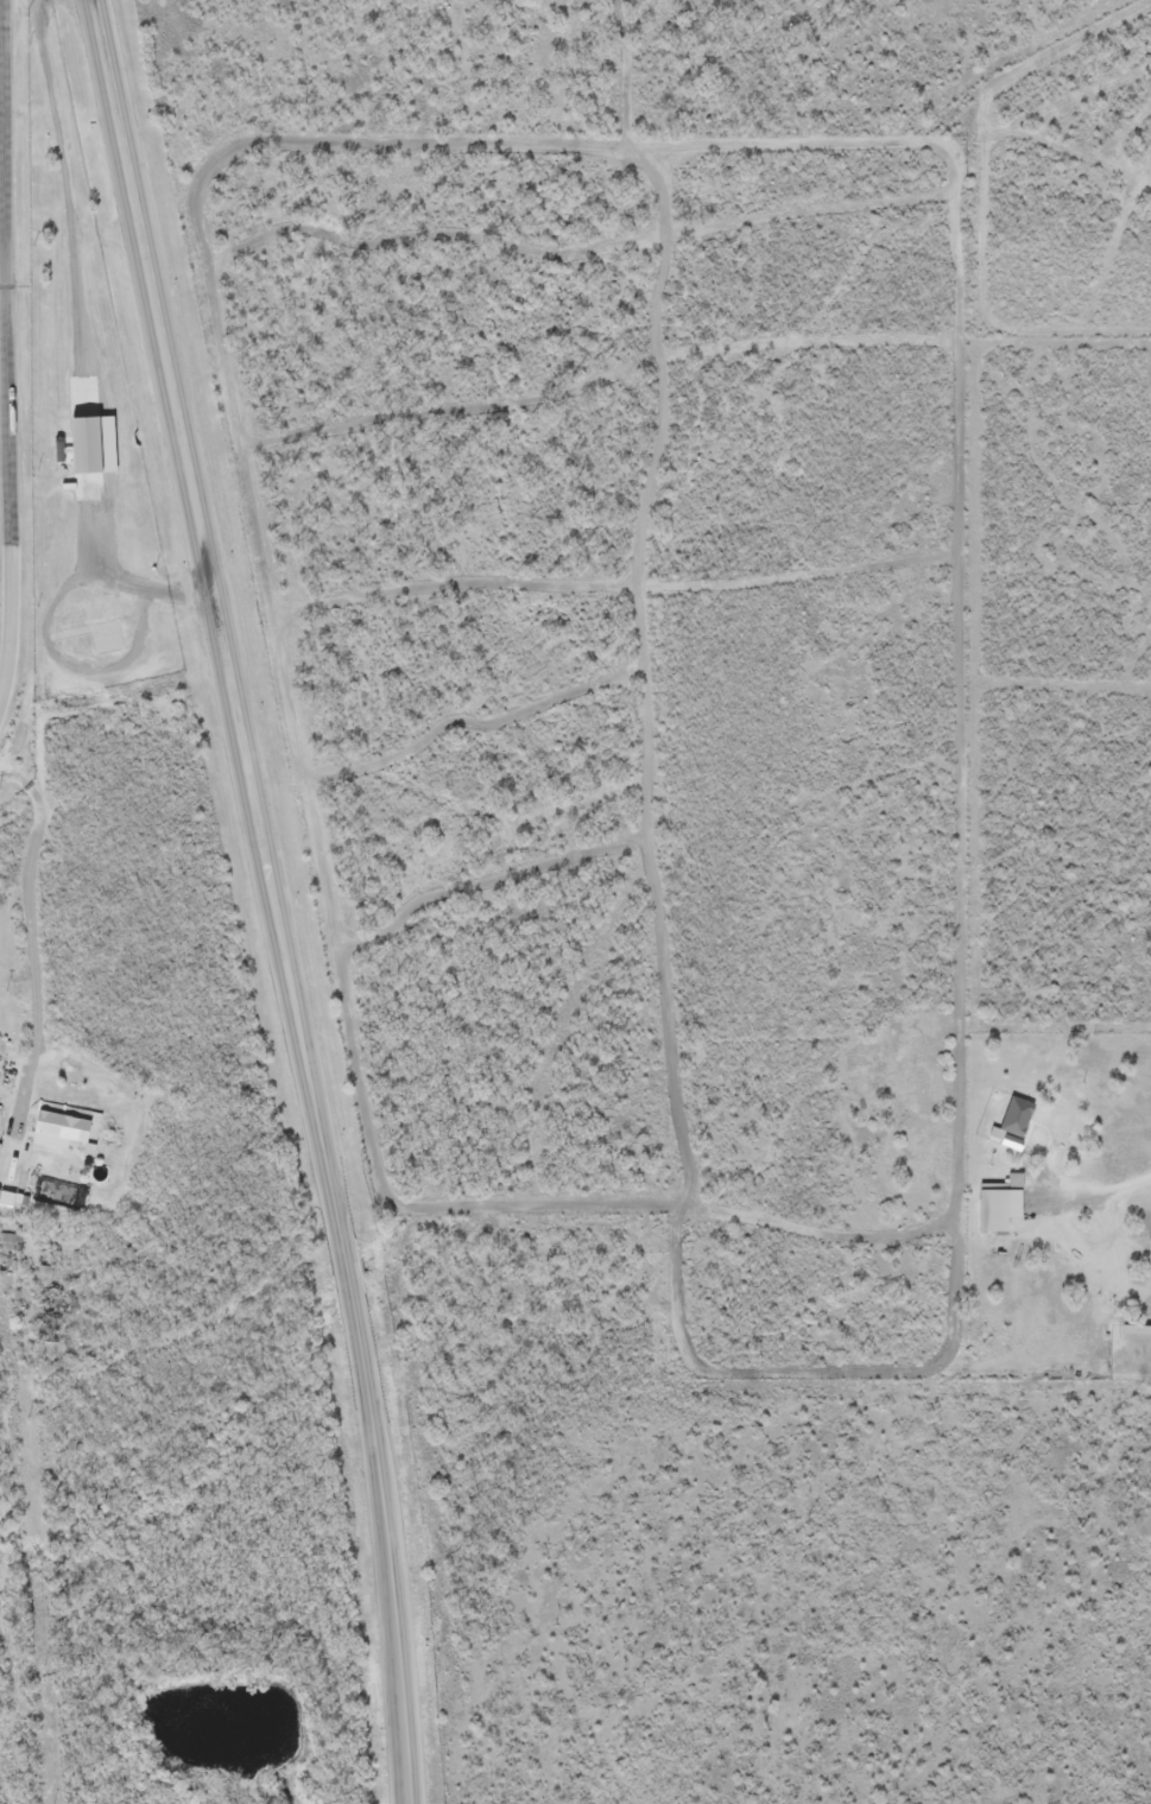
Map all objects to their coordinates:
road: (7, 354)
building: (94, 443)
road: (268, 899)
building: (1018, 1113)
building: (1067, 1122)
building: (56, 1131)
building: (1013, 1140)
building: (1049, 1157)
building: (999, 1207)
building: (1137, 1329)
road: (18, 1414)

